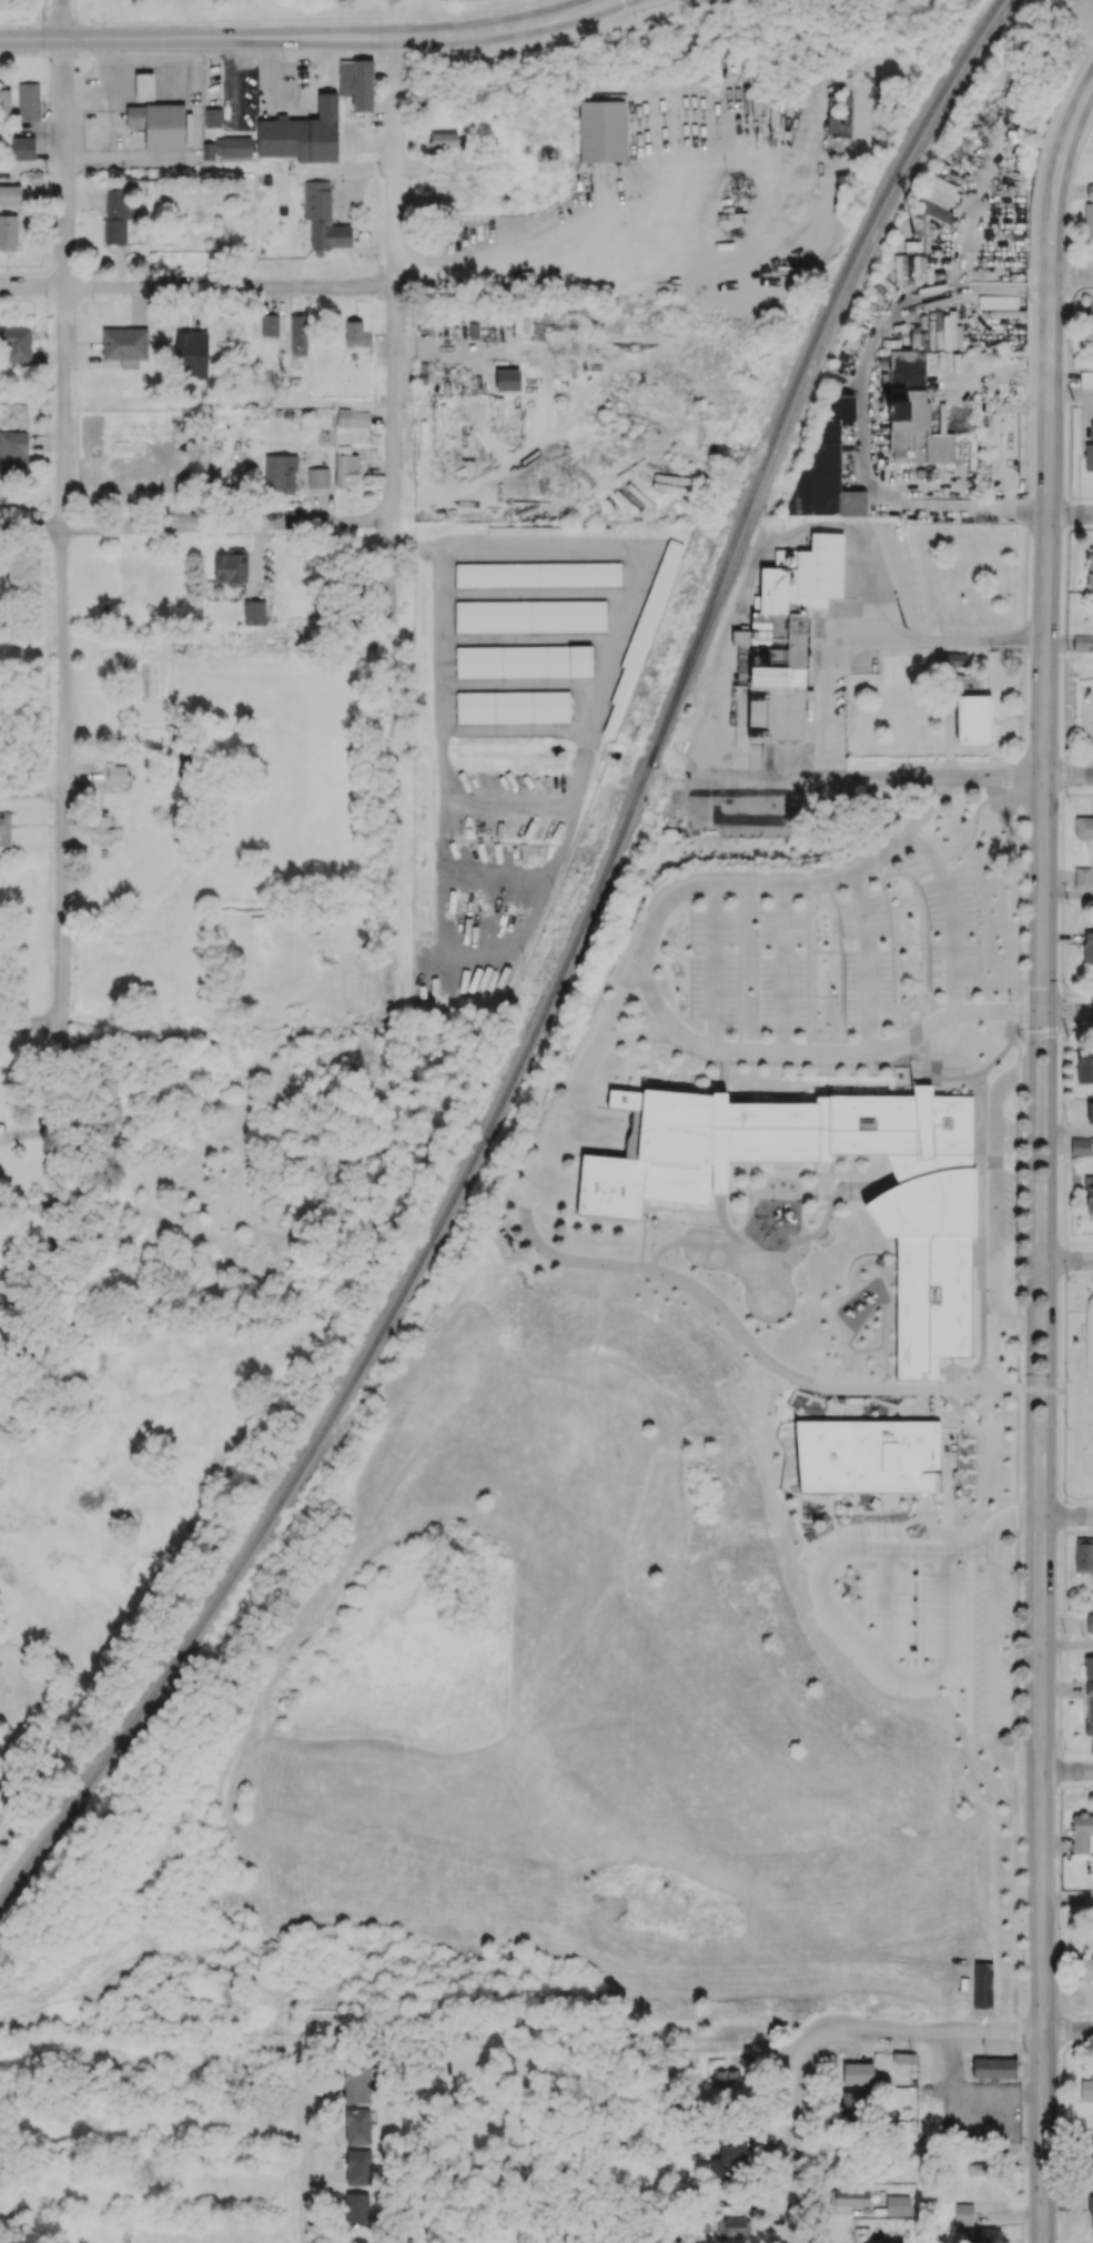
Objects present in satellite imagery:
park: (273, 10)
road: (479, 17)
road: (61, 20)
road: (508, 31)
road: (198, 39)
traffic signals: (206, 39)
railway: (980, 52)
building: (999, 75)
road: (1083, 79)
building: (356, 82)
building: (143, 83)
building: (28, 101)
building: (4, 105)
building: (212, 117)
building: (838, 124)
building: (159, 125)
building: (601, 130)
road: (1082, 133)
building: (284, 138)
building: (444, 139)
building: (233, 145)
building: (22, 148)
road: (132, 166)
road: (32, 168)
road: (1065, 174)
building: (10, 194)
road: (1064, 204)
building: (1089, 212)
building: (118, 214)
building: (323, 216)
building: (8, 232)
road: (1064, 238)
road: (748, 249)
road: (1065, 273)
road: (393, 275)
road: (1016, 275)
road: (195, 286)
building: (1090, 316)
building: (270, 324)
road: (1065, 326)
building: (298, 333)
building: (356, 334)
building: (16, 344)
building: (124, 345)
road: (1069, 376)
road: (1072, 395)
road: (229, 403)
building: (911, 408)
building: (353, 417)
road: (863, 423)
railway: (790, 428)
road: (1069, 441)
building: (1089, 452)
building: (13, 453)
building: (346, 466)
building: (826, 468)
building: (280, 473)
building: (318, 477)
road: (1067, 512)
road: (984, 513)
road: (195, 524)
building: (1089, 568)
building: (537, 574)
building: (254, 612)
building: (530, 615)
building: (646, 620)
building: (785, 635)
road: (877, 638)
road: (1064, 641)
building: (1083, 641)
building: (954, 658)
road: (1071, 658)
building: (524, 660)
road: (64, 661)
building: (513, 706)
building: (973, 719)
building: (117, 774)
road: (1064, 774)
road: (887, 778)
road: (32, 786)
building: (1083, 827)
building: (100, 828)
building: (4, 829)
building: (1082, 876)
railway: (599, 887)
road: (1062, 891)
road: (1071, 896)
road: (952, 912)
building: (1087, 947)
road: (863, 960)
road: (716, 964)
road: (781, 967)
road: (649, 988)
road: (1079, 993)
road: (1092, 993)
road: (1065, 1010)
road: (1071, 1012)
road: (1077, 1024)
road: (1091, 1024)
road: (31, 1025)
road: (632, 1031)
building: (1084, 1064)
road: (1062, 1072)
building: (1090, 1111)
road: (1062, 1129)
road: (1071, 1132)
building: (1080, 1146)
road: (1049, 1163)
road: (1064, 1189)
building: (1089, 1194)
road: (27, 1205)
building: (923, 1226)
road: (1079, 1242)
road: (1064, 1259)
road: (1071, 1260)
road: (654, 1270)
road: (1079, 1275)
park: (1090, 1368)
road: (1065, 1373)
park: (1079, 1387)
building: (867, 1455)
road: (1067, 1495)
road: (1062, 1514)
road: (1070, 1515)
road: (1001, 1517)
road: (1079, 1529)
building: (1083, 1555)
road: (1063, 1582)
building: (928, 1583)
building: (1090, 1623)
road: (858, 1639)
road: (1059, 1641)
road: (1070, 1643)
road: (991, 1667)
building: (1087, 1667)
road: (1059, 1701)
building: (1089, 1714)
road: (1060, 1768)
road: (1070, 1770)
building: (1, 1782)
road: (1076, 1784)
railway: (61, 1820)
building: (1081, 1831)
road: (1059, 1836)
road: (1056, 1897)
road: (1069, 1899)
road: (1056, 1931)
building: (1084, 1968)
road: (1057, 1971)
road: (1060, 2002)
road: (1082, 2013)
road: (1063, 2028)
road: (958, 2031)
road: (1074, 2042)
building: (904, 2058)
building: (716, 2063)
road: (1062, 2064)
building: (994, 2068)
building: (858, 2073)
building: (726, 2078)
building: (356, 2084)
road: (974, 2085)
building: (1086, 2089)
road: (1062, 2092)
building: (857, 2103)
road: (1062, 2109)
building: (357, 2125)
road: (795, 2132)
building: (1092, 2149)
building: (729, 2156)
road: (1061, 2160)
road: (310, 2161)
building: (357, 2166)
building: (851, 2195)
building: (897, 2204)
building: (356, 2207)
building: (1091, 2209)
building: (963, 2213)
road: (1061, 2223)
building: (733, 2226)
building: (982, 2235)
building: (355, 2241)

